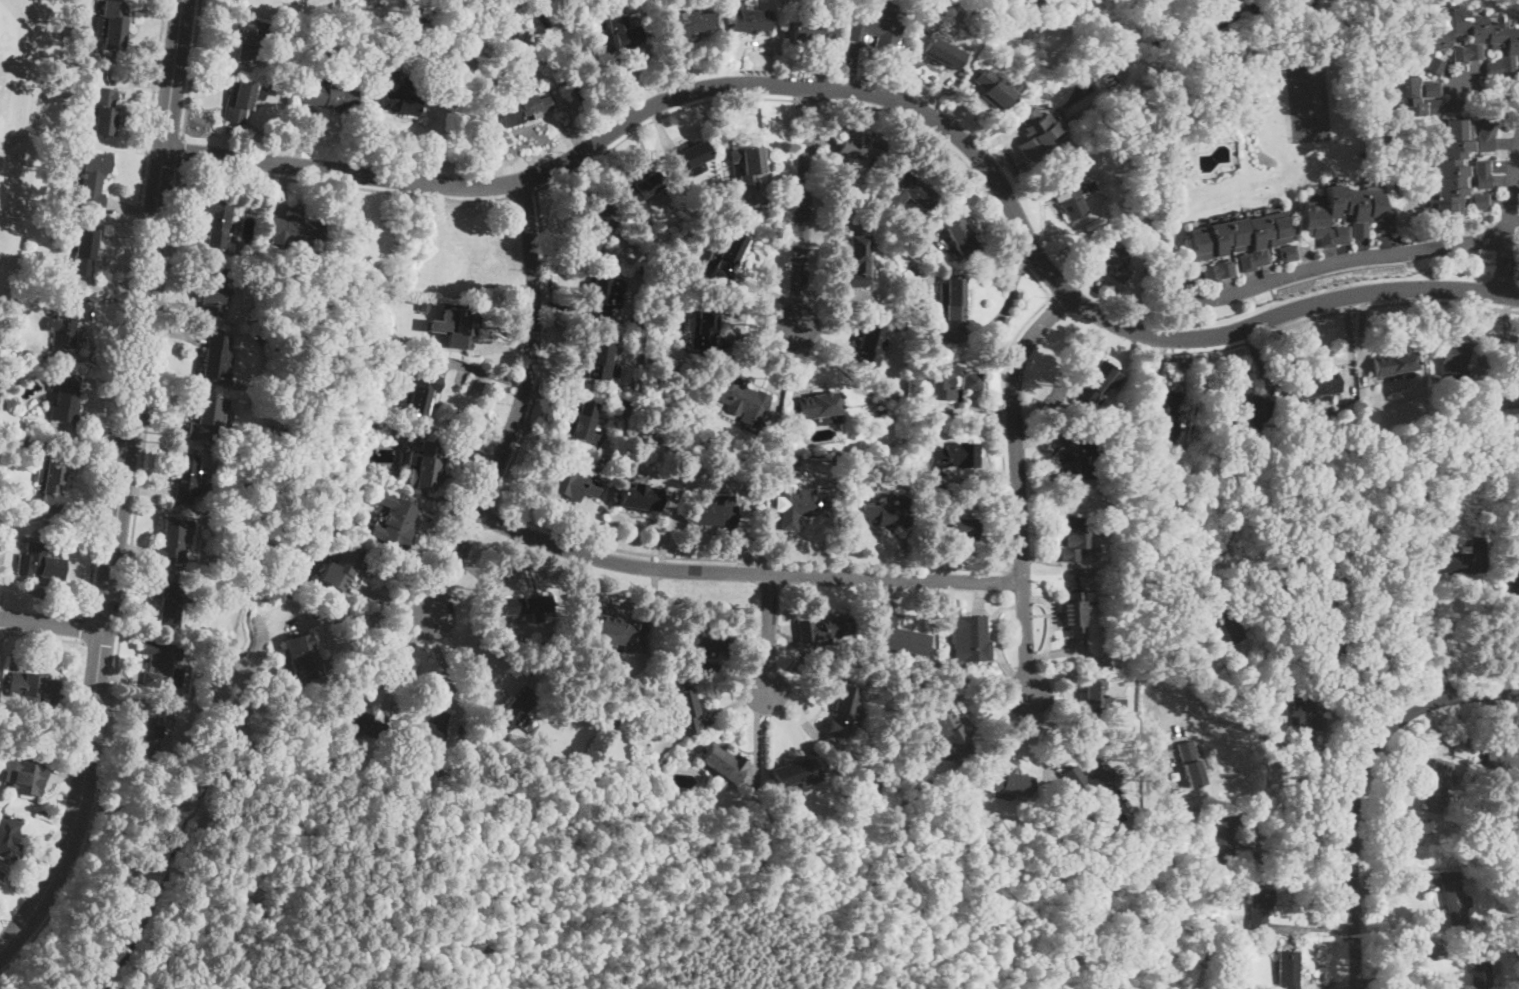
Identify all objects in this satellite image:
park: (439, 1)
building: (749, 19)
building: (688, 22)
building: (112, 24)
building: (875, 27)
building: (813, 29)
building: (625, 37)
building: (250, 39)
building: (1475, 39)
building: (942, 53)
building: (424, 64)
building: (1434, 65)
road: (569, 66)
road: (190, 69)
building: (992, 89)
road: (1491, 93)
building: (1414, 95)
building: (329, 96)
road: (885, 96)
building: (400, 98)
building: (239, 101)
road: (811, 105)
building: (524, 109)
building: (103, 110)
road: (661, 115)
park: (19, 119)
building: (1036, 130)
building: (1224, 130)
building: (1486, 135)
building: (860, 147)
road: (180, 150)
building: (688, 158)
building: (749, 167)
building: (1185, 168)
building: (1451, 168)
building: (1482, 174)
building: (93, 181)
road: (345, 184)
building: (1087, 187)
building: (640, 188)
building: (911, 189)
road: (523, 192)
building: (1065, 193)
building: (1480, 202)
road: (804, 207)
building: (1345, 215)
road: (1504, 215)
building: (217, 222)
building: (599, 225)
building: (296, 231)
building: (960, 237)
building: (1240, 239)
building: (80, 248)
building: (915, 250)
building: (1288, 253)
building: (726, 257)
building: (1111, 259)
building: (856, 261)
road: (1322, 263)
building: (870, 267)
building: (1218, 271)
building: (213, 293)
building: (604, 295)
building: (952, 298)
building: (424, 306)
road: (126, 307)
road: (1334, 311)
road: (143, 315)
building: (68, 322)
building: (925, 326)
building: (706, 327)
building: (463, 330)
building: (869, 347)
building: (218, 357)
building: (600, 358)
building: (1395, 364)
building: (1454, 364)
building: (950, 380)
building: (1092, 383)
building: (1513, 384)
building: (1316, 386)
building: (1395, 393)
building: (421, 394)
building: (66, 399)
building: (741, 399)
road: (519, 404)
building: (819, 404)
building: (1252, 408)
building: (881, 410)
building: (1162, 411)
building: (207, 416)
building: (585, 423)
building: (643, 426)
building: (44, 434)
building: (774, 434)
building: (43, 444)
building: (230, 445)
building: (1077, 454)
building: (953, 455)
building: (424, 464)
building: (1144, 464)
building: (227, 470)
building: (187, 478)
building: (53, 481)
building: (574, 483)
road: (1018, 485)
building: (1415, 491)
building: (38, 496)
building: (641, 498)
building: (800, 507)
building: (716, 513)
building: (882, 516)
building: (224, 521)
building: (393, 522)
building: (953, 526)
building: (1072, 537)
building: (172, 541)
building: (1461, 558)
building: (40, 561)
road: (885, 563)
building: (342, 567)
road: (746, 572)
road: (126, 581)
building: (1511, 585)
building: (522, 604)
building: (171, 605)
building: (1072, 614)
road: (52, 624)
road: (86, 627)
building: (821, 630)
building: (615, 631)
building: (1232, 631)
road: (769, 632)
road: (42, 635)
building: (900, 636)
road: (371, 637)
building: (702, 638)
building: (972, 639)
road: (1432, 642)
building: (1330, 644)
road: (470, 656)
building: (299, 657)
road: (403, 658)
building: (159, 659)
road: (442, 666)
road: (1330, 682)
building: (32, 685)
building: (1101, 702)
building: (516, 710)
building: (687, 710)
building: (1307, 711)
building: (843, 712)
road: (1285, 719)
building: (362, 725)
building: (429, 727)
building: (150, 731)
building: (950, 733)
road: (1045, 739)
building: (23, 742)
road: (1280, 743)
building: (1462, 747)
building: (1502, 757)
building: (686, 762)
building: (724, 763)
building: (1190, 764)
building: (795, 772)
building: (28, 778)
building: (1089, 782)
building: (1009, 783)
road: (1357, 785)
building: (1437, 786)
road: (81, 801)
building: (846, 806)
building: (1114, 808)
building: (9, 837)
building: (1222, 841)
building: (1472, 841)
road: (1303, 850)
building: (1165, 851)
building: (0, 873)
building: (0, 876)
park: (564, 893)
building: (1454, 899)
building: (1259, 909)
road: (1412, 965)
building: (1483, 967)
building: (1201, 969)
building: (1288, 969)
building: (1220, 982)
building: (1229, 987)

